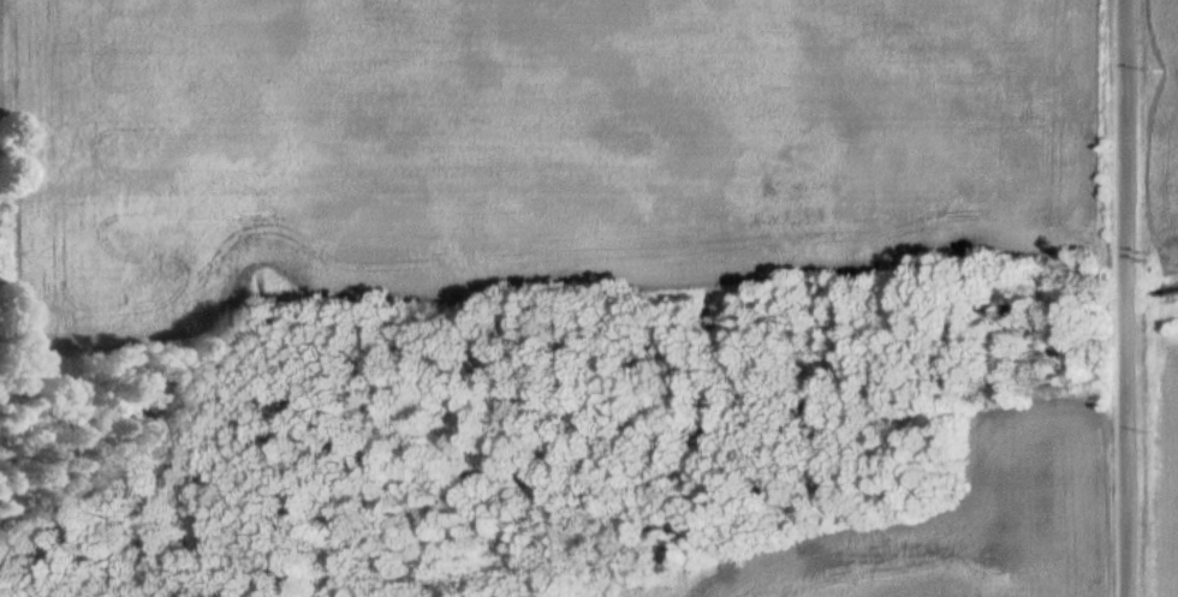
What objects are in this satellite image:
road: (1125, 298)

